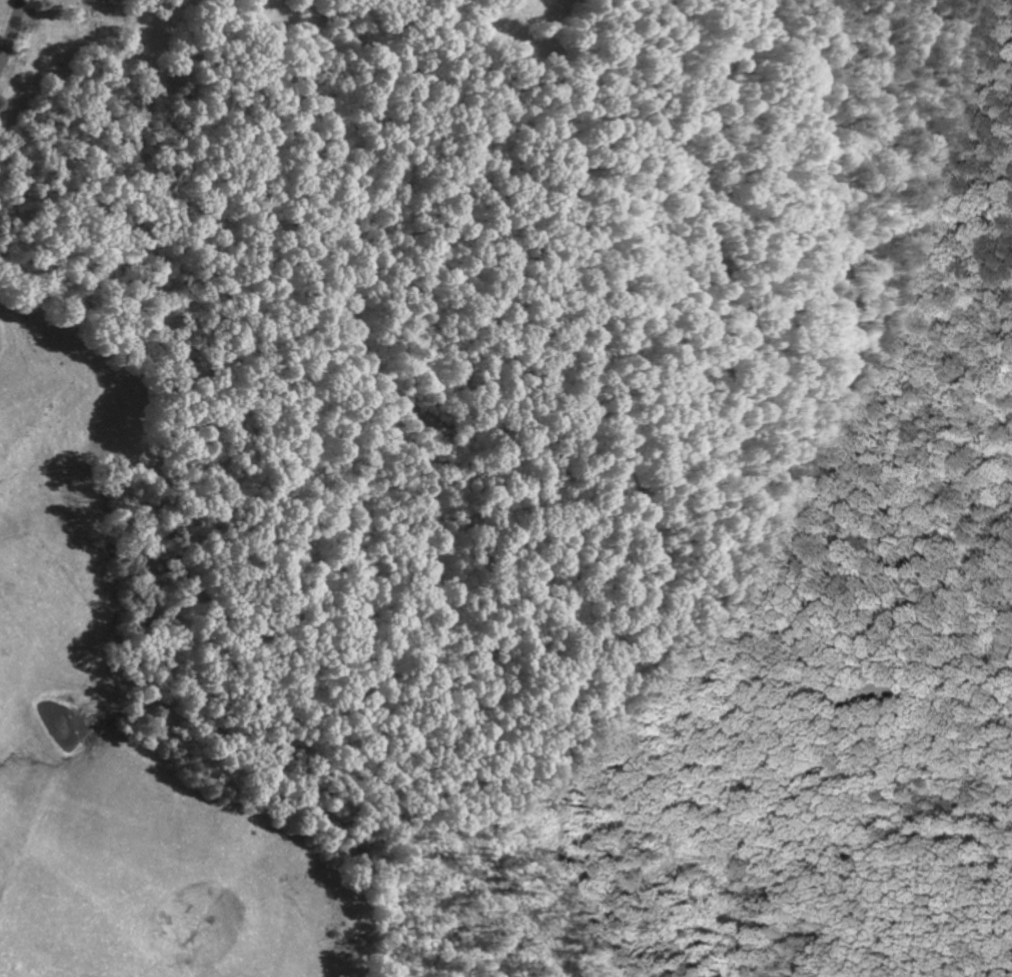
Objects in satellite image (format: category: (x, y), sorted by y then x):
road: (11, 30)

